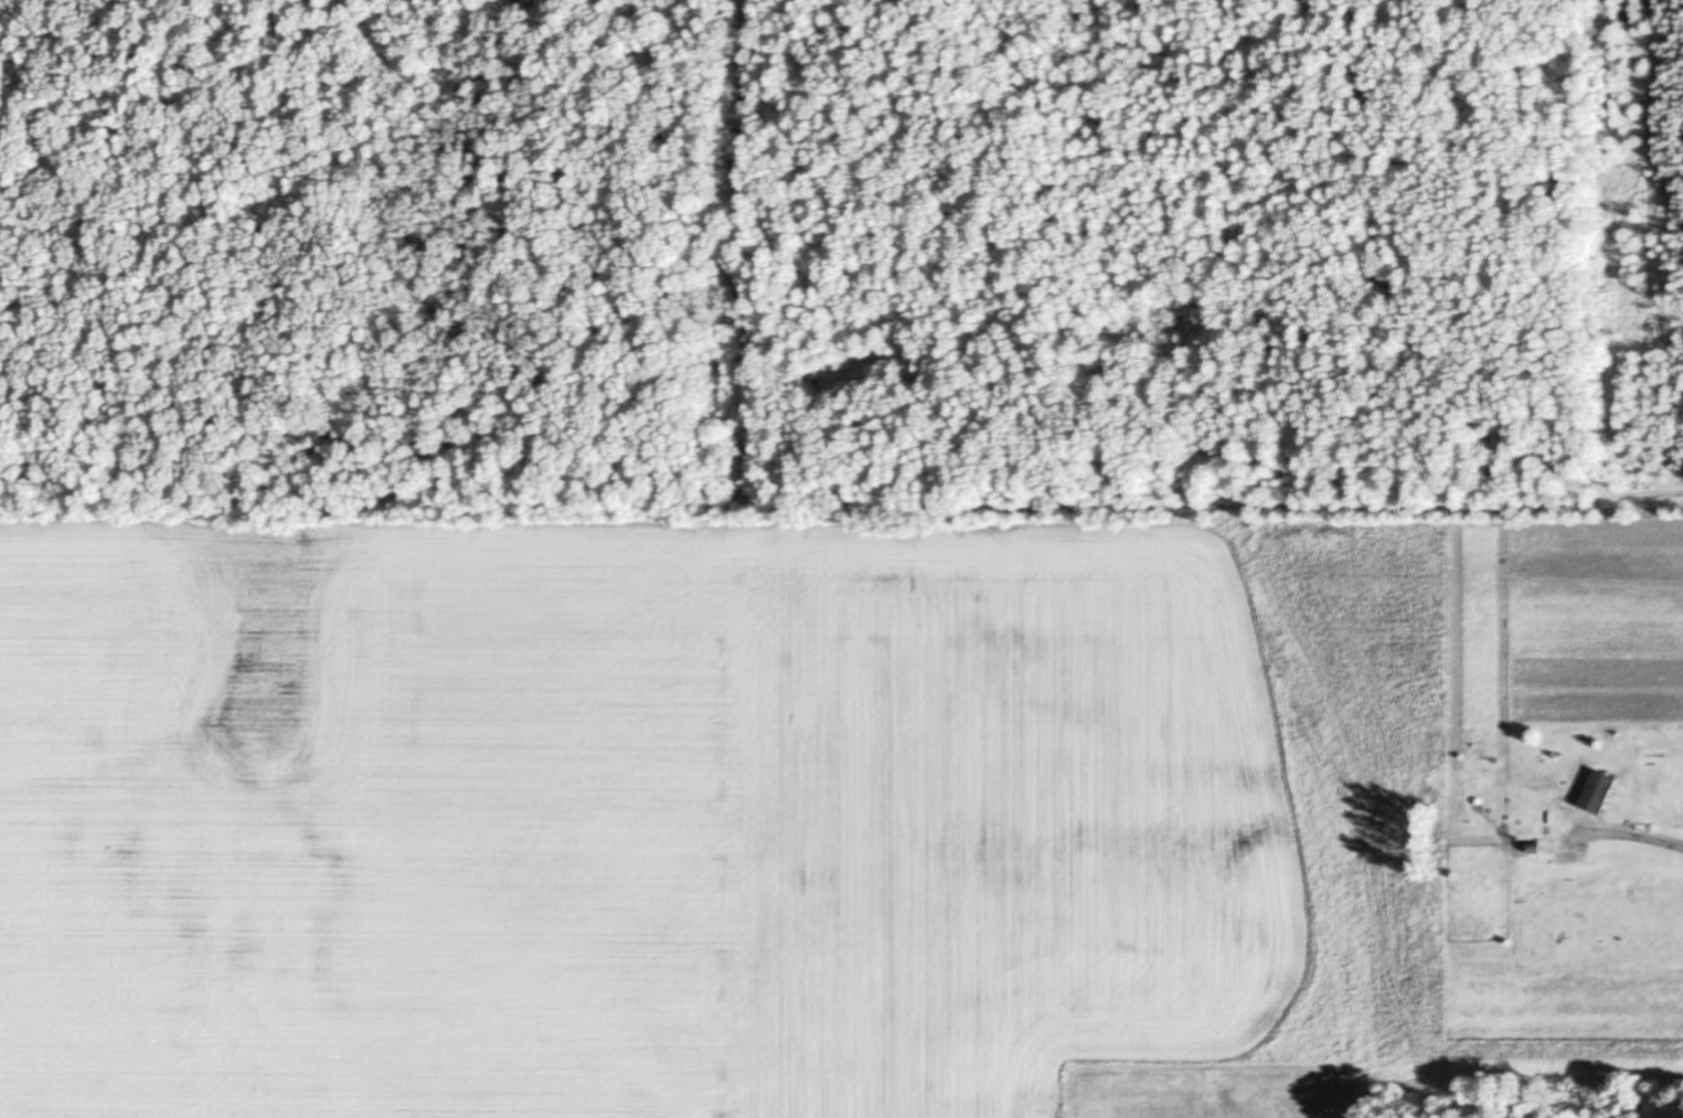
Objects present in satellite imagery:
building: (1600, 790)

